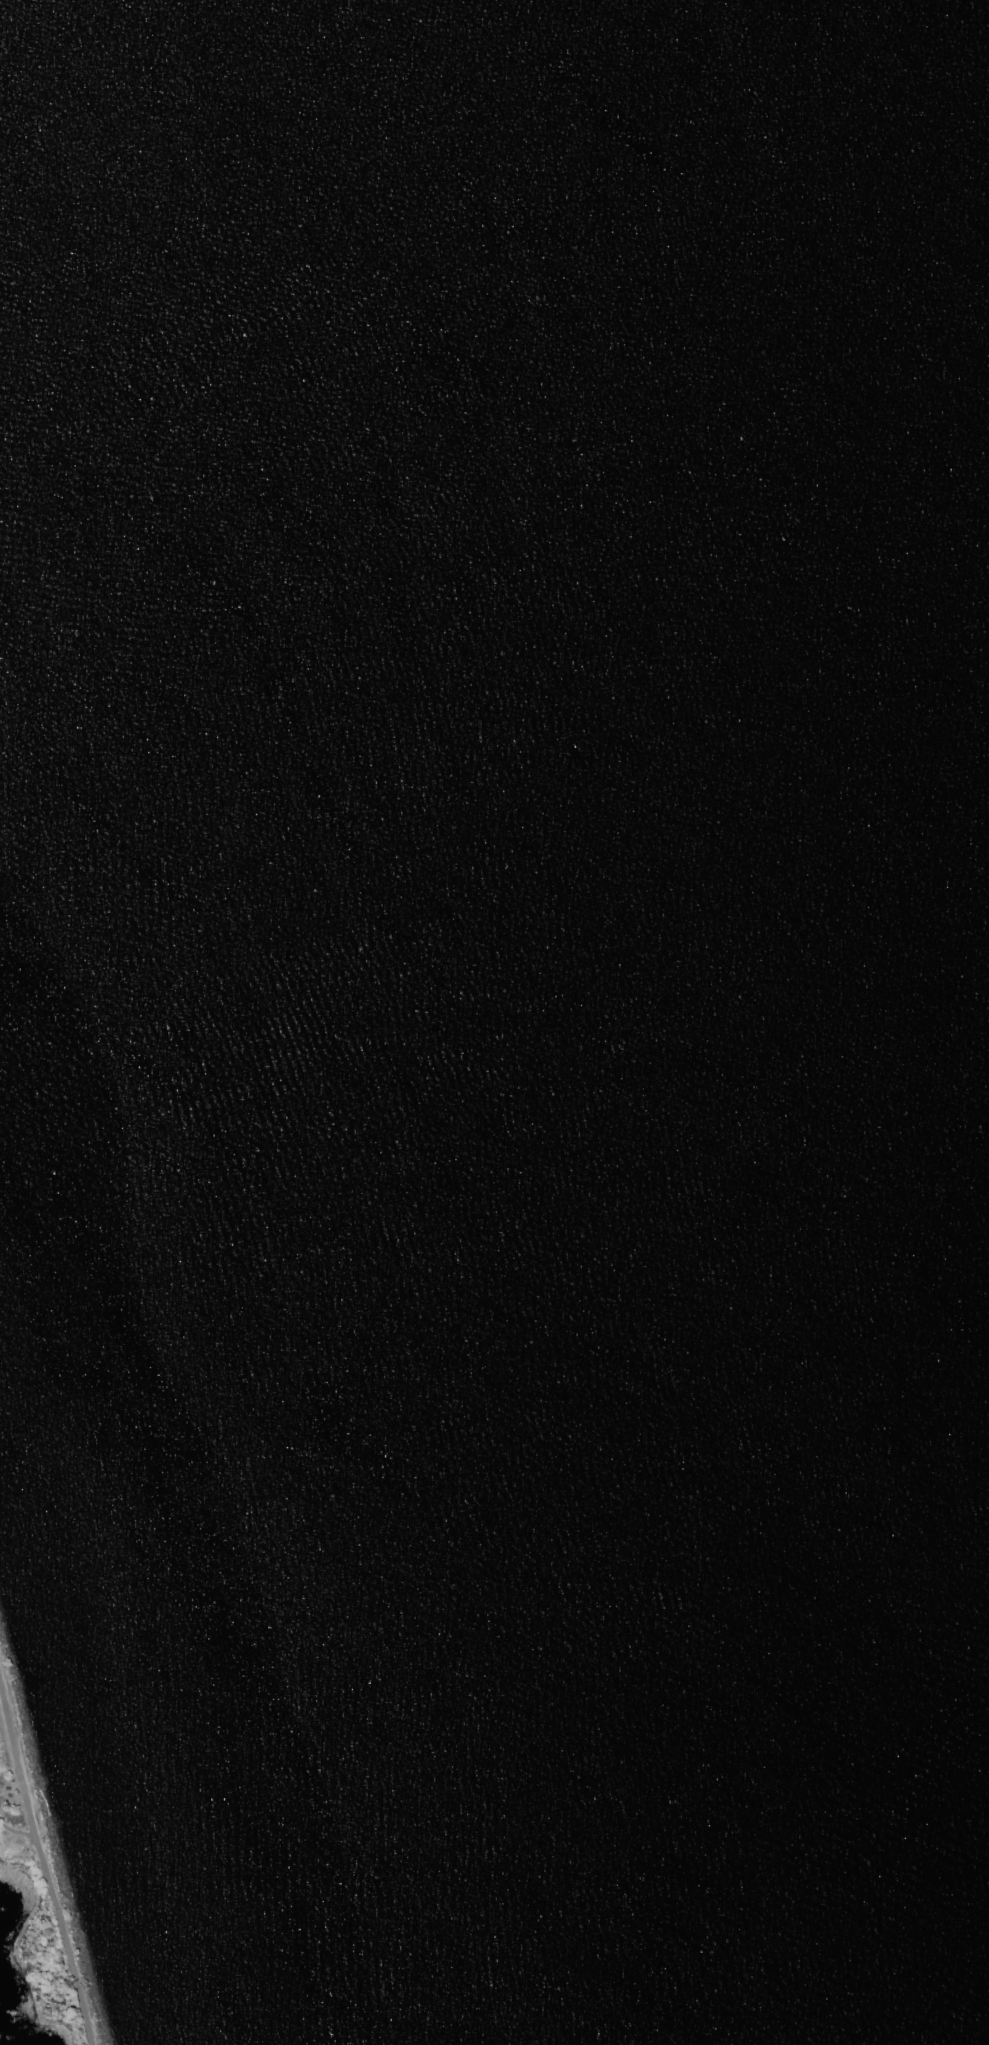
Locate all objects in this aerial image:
road: (17, 1829)
road: (46, 1860)

